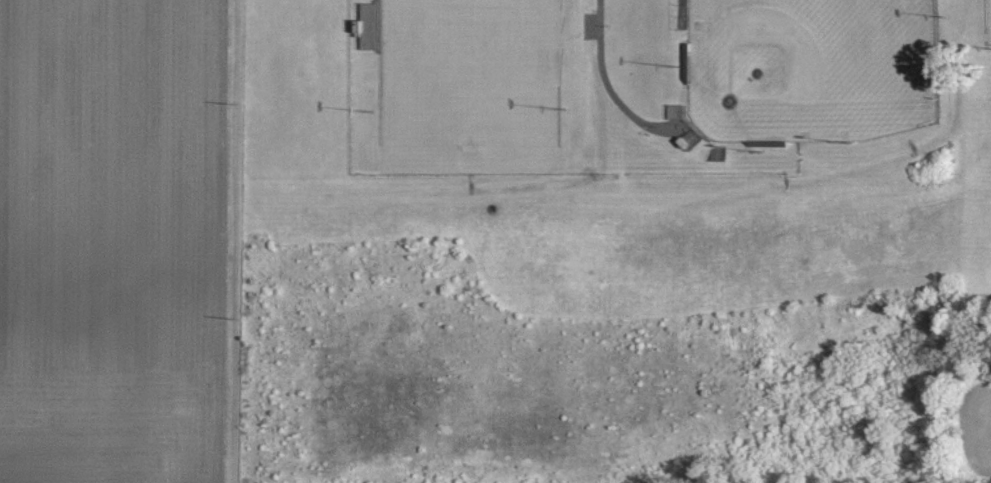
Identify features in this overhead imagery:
building: (370, 27)
road: (233, 241)

